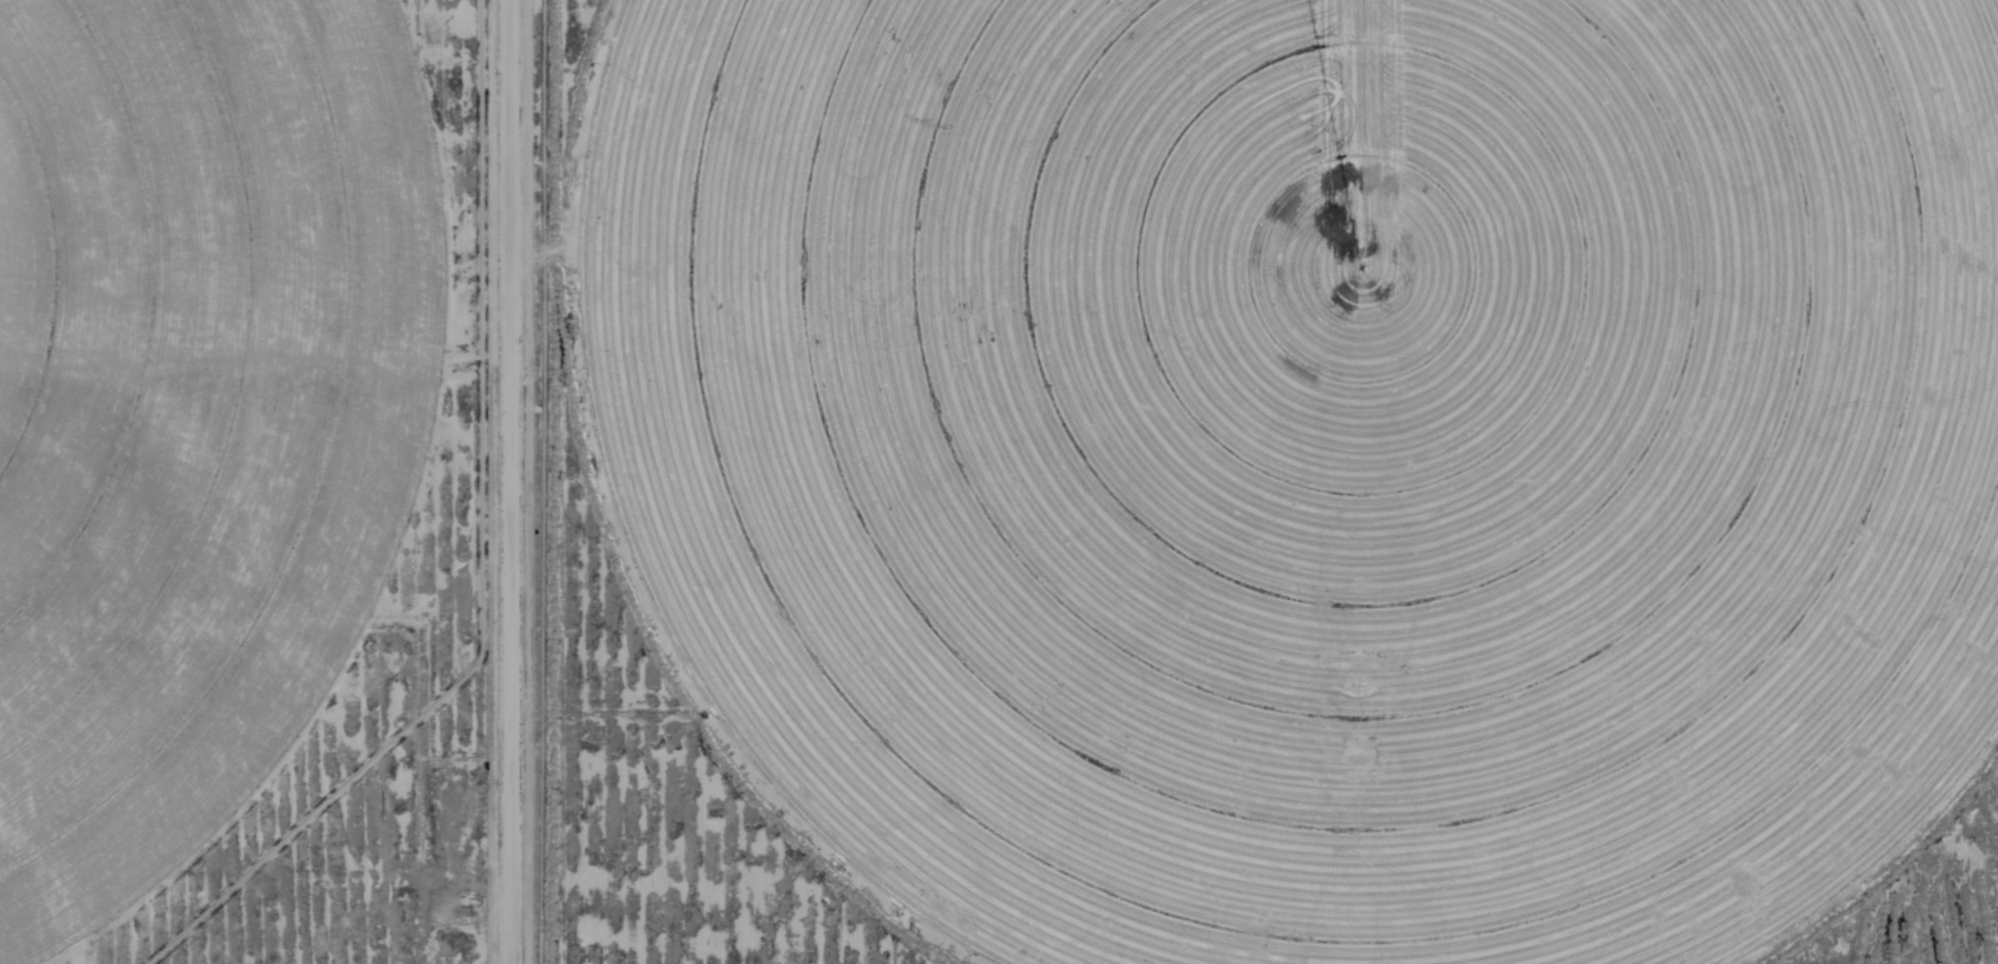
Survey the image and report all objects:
crop: (189, 405)
crop: (1310, 455)
road: (485, 482)

